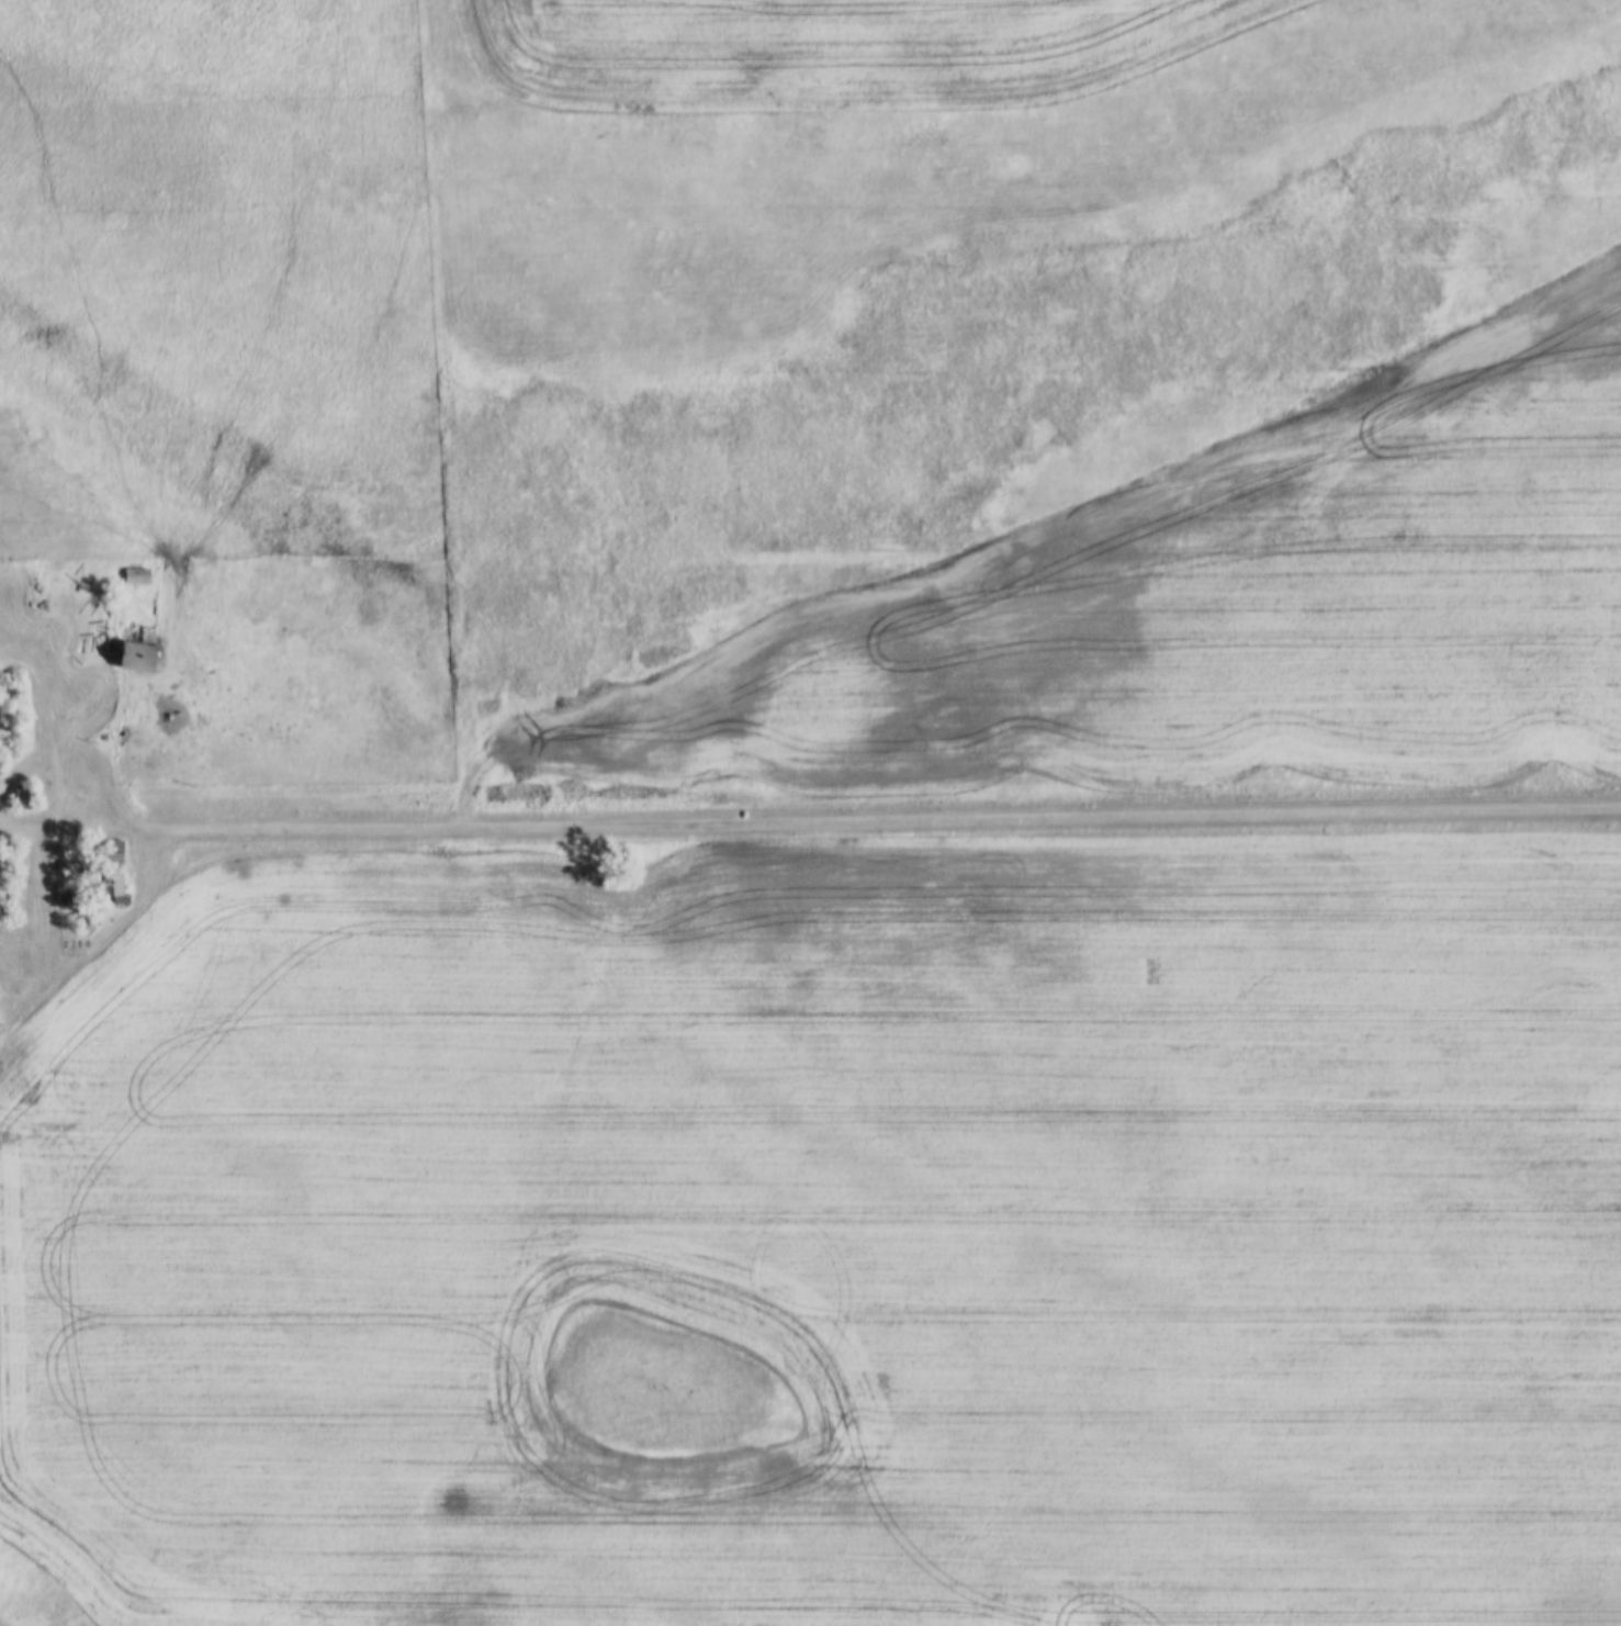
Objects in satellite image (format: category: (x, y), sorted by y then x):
building: (138, 655)
building: (21, 798)
road: (766, 819)
building: (112, 888)

